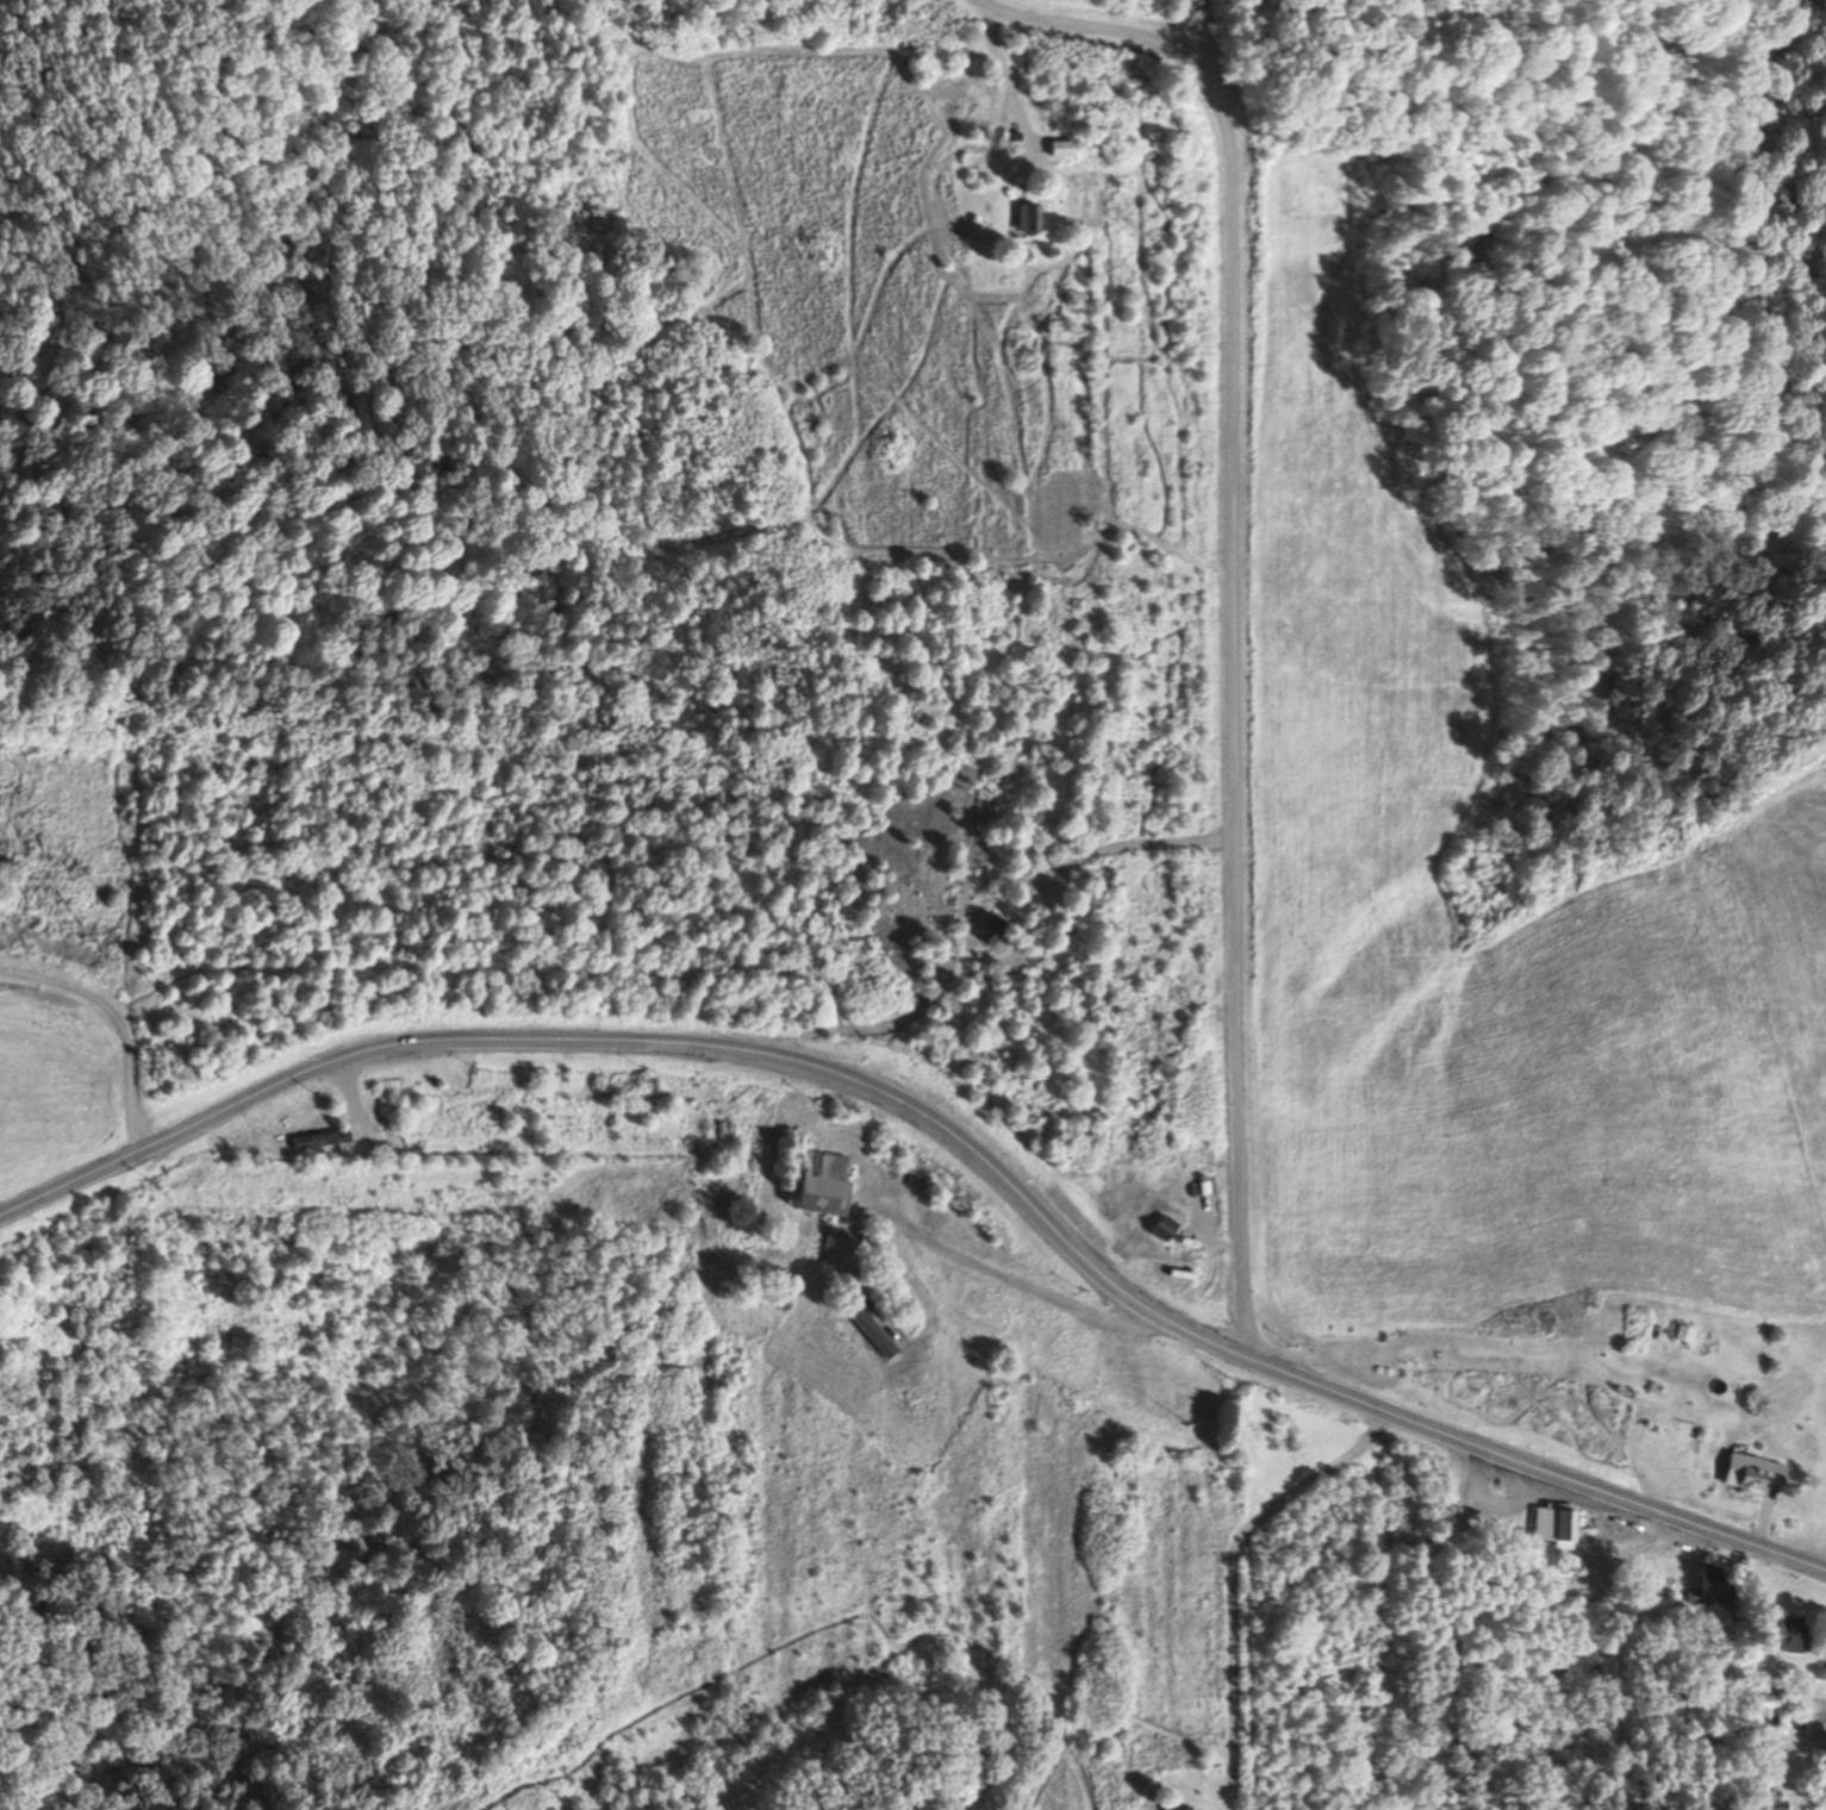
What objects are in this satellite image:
building: (1060, 148)
building: (1029, 218)
road: (1264, 647)
building: (990, 931)
road: (114, 1024)
road: (942, 1132)
building: (823, 1185)
building: (1164, 1230)
building: (872, 1332)
building: (1683, 1336)
building: (1753, 1474)
building: (1553, 1527)
building: (1713, 1589)
building: (1791, 1636)
building: (1822, 1672)
building: (1780, 1703)
building: (1820, 1774)
building: (1771, 1800)

